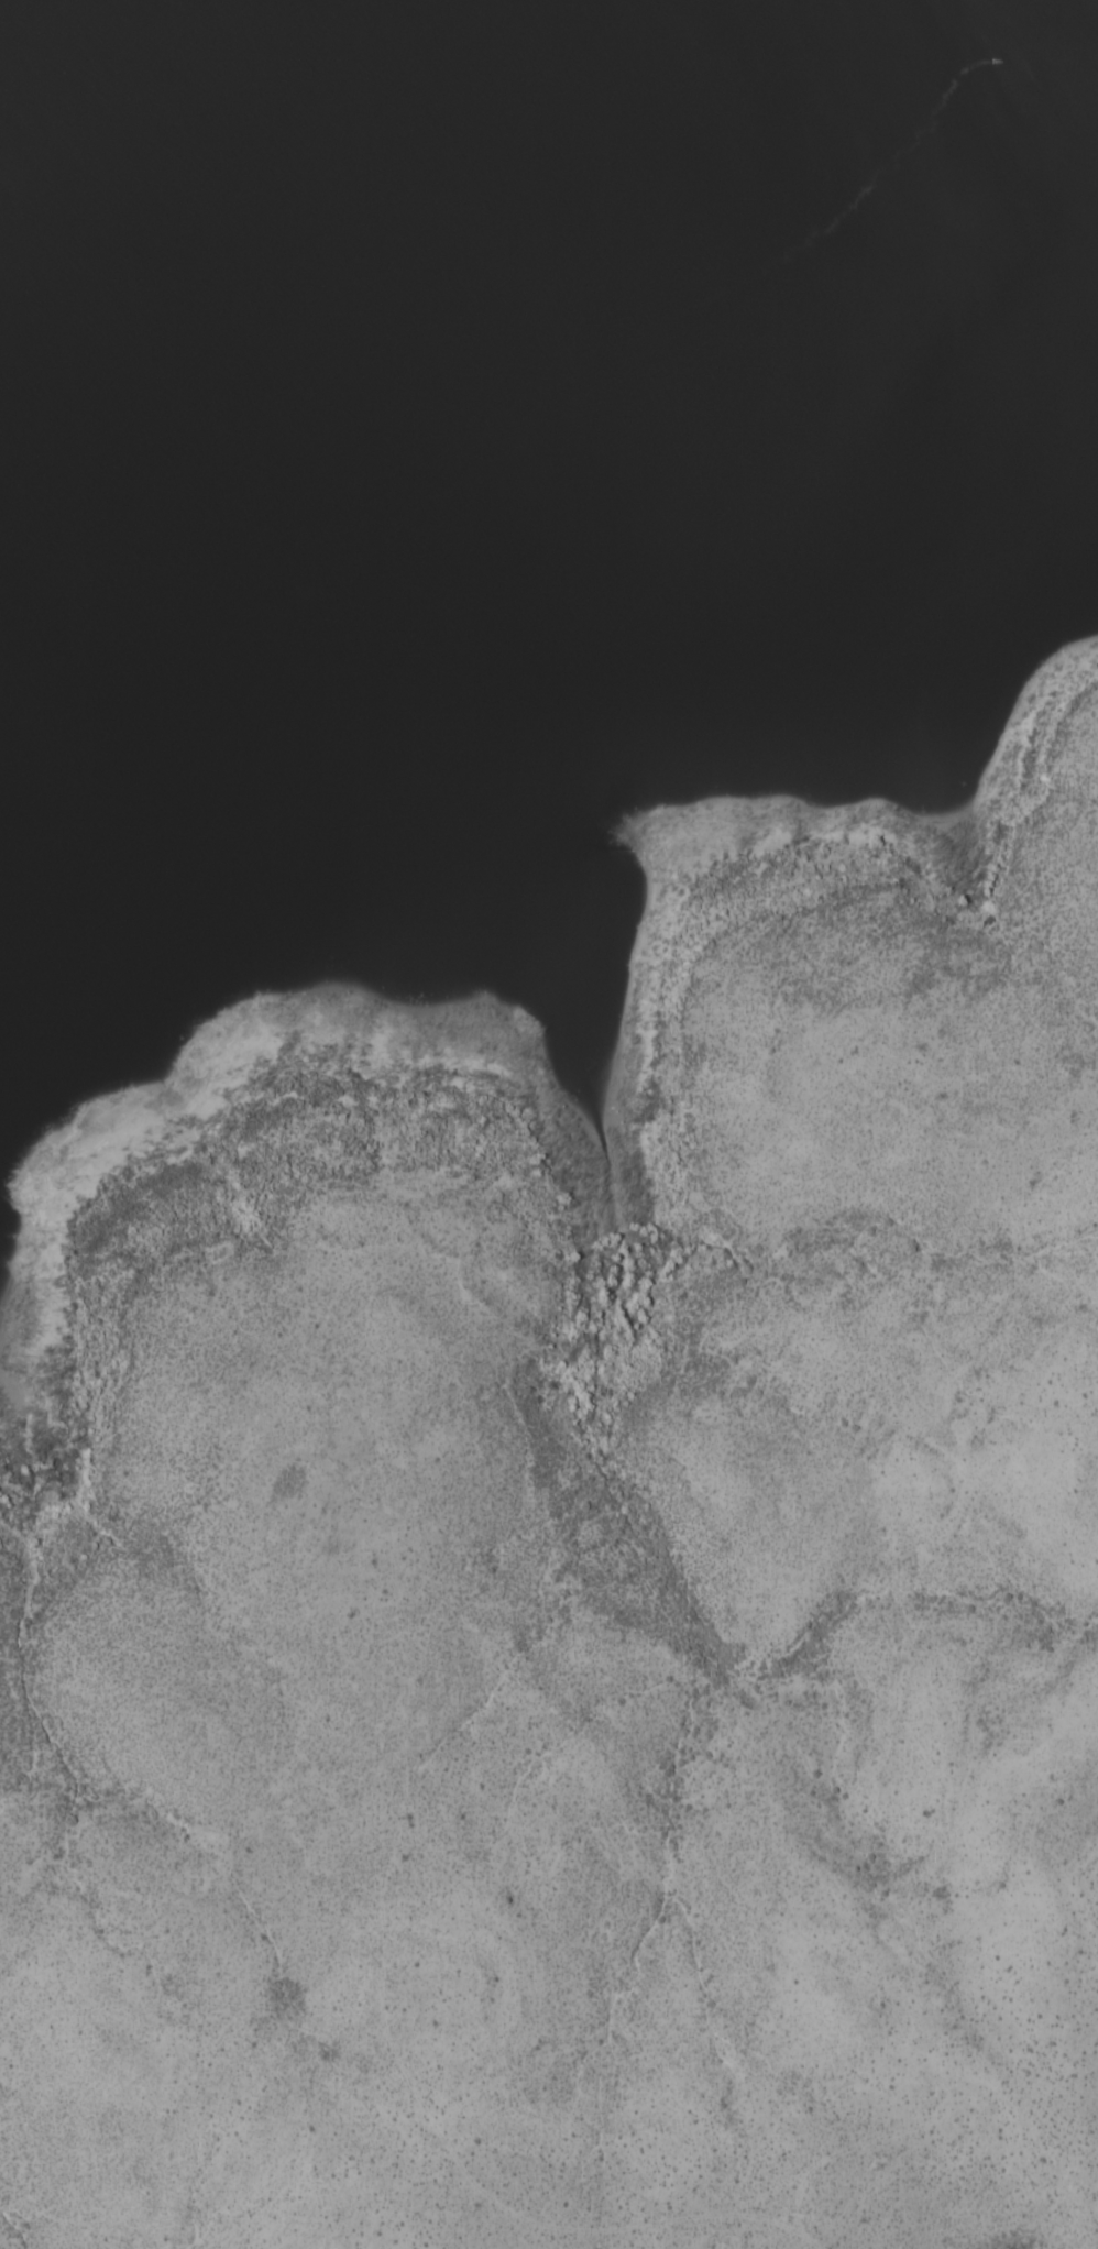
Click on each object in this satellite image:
river: (549, 490)

